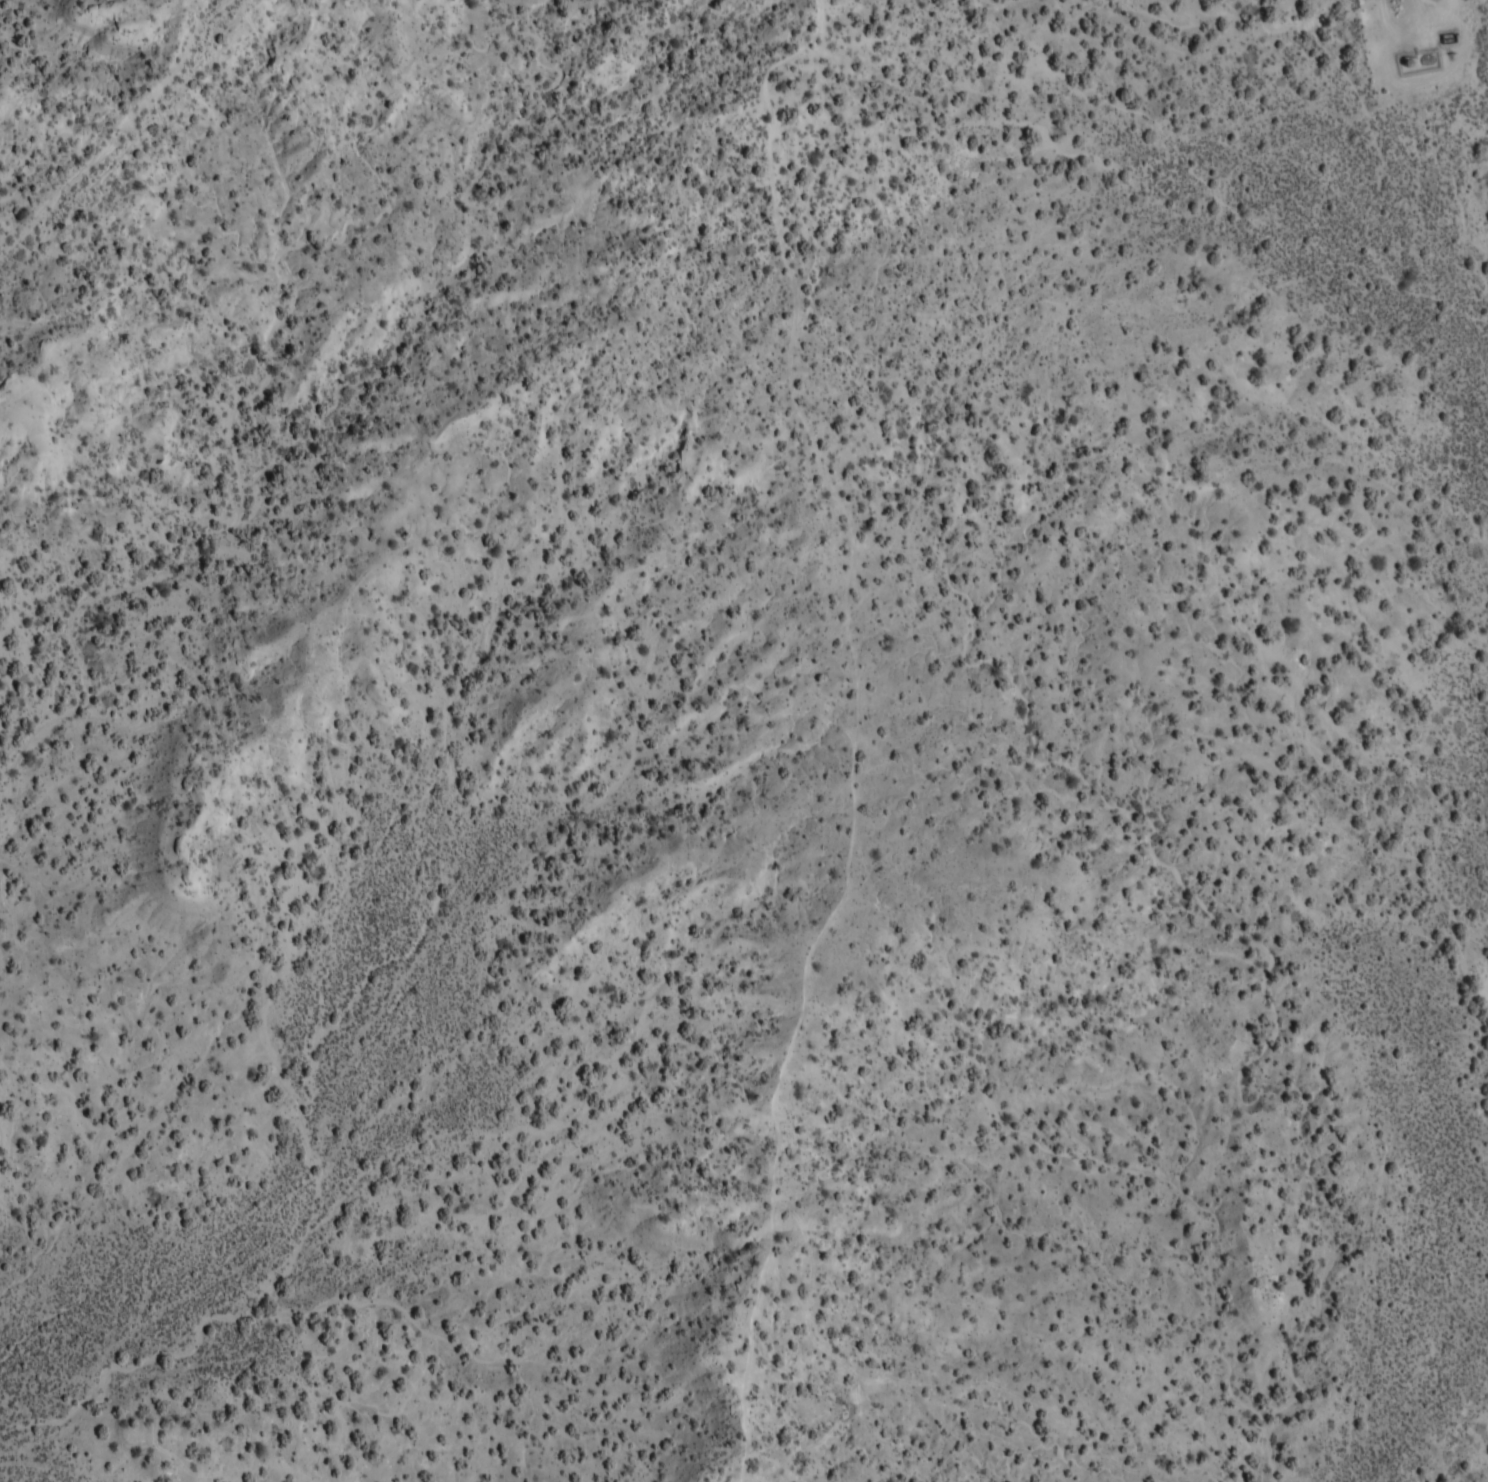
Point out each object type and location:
road: (1428, 8)

